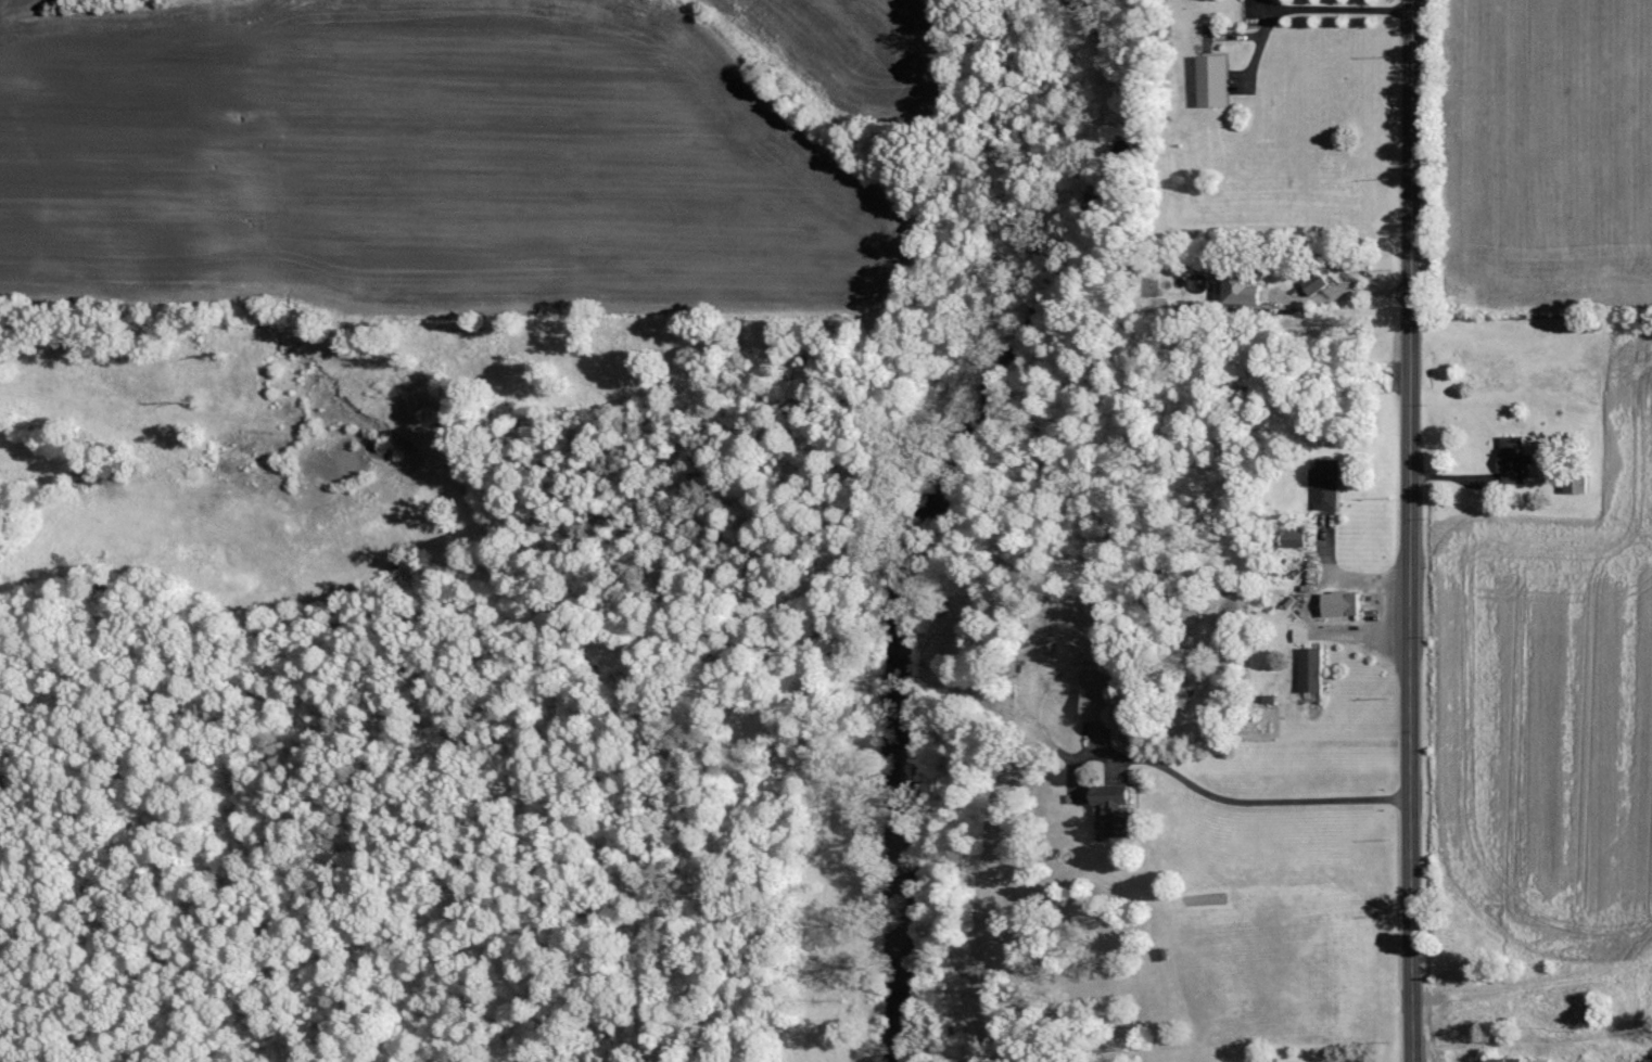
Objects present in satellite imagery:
road: (1336, 9)
building: (1211, 80)
building: (1311, 282)
road: (1333, 295)
building: (1510, 459)
building: (1574, 485)
building: (1325, 495)
river: (928, 509)
road: (1412, 530)
building: (1339, 603)
building: (1300, 635)
building: (1310, 669)
building: (1093, 695)
road: (1266, 791)
building: (1105, 801)
park: (1449, 948)
road: (1487, 1039)
building: (1498, 1060)
building: (1537, 1060)

